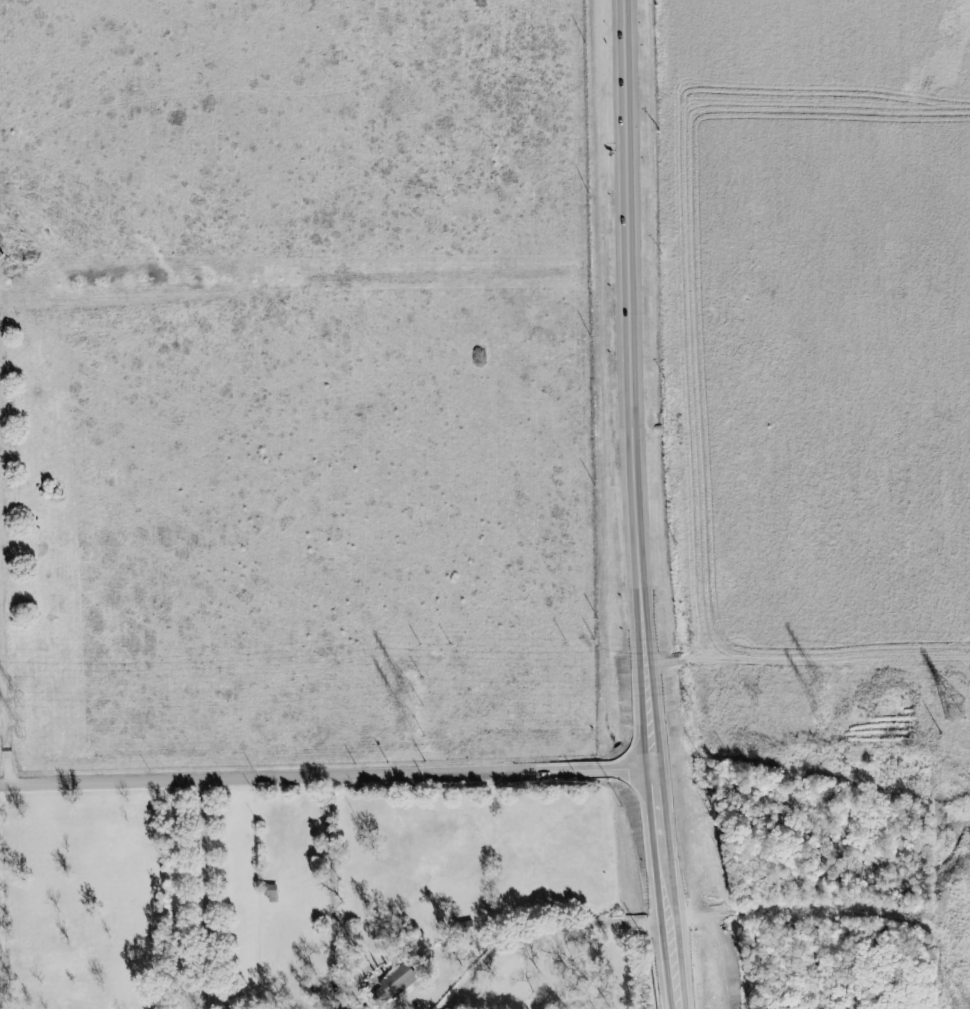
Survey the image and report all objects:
building: (1, 255)
road: (634, 461)
power tower: (818, 684)
power tower: (405, 691)
road: (4, 698)
power tower: (18, 699)
power tower: (955, 710)
power tower: (818, 714)
power tower: (407, 722)
power tower: (19, 730)
road: (327, 776)
building: (273, 891)
road: (204, 894)
road: (332, 903)
road: (538, 925)
road: (676, 965)
building: (393, 986)
road: (0, 1002)
power tower: (963, 1005)

